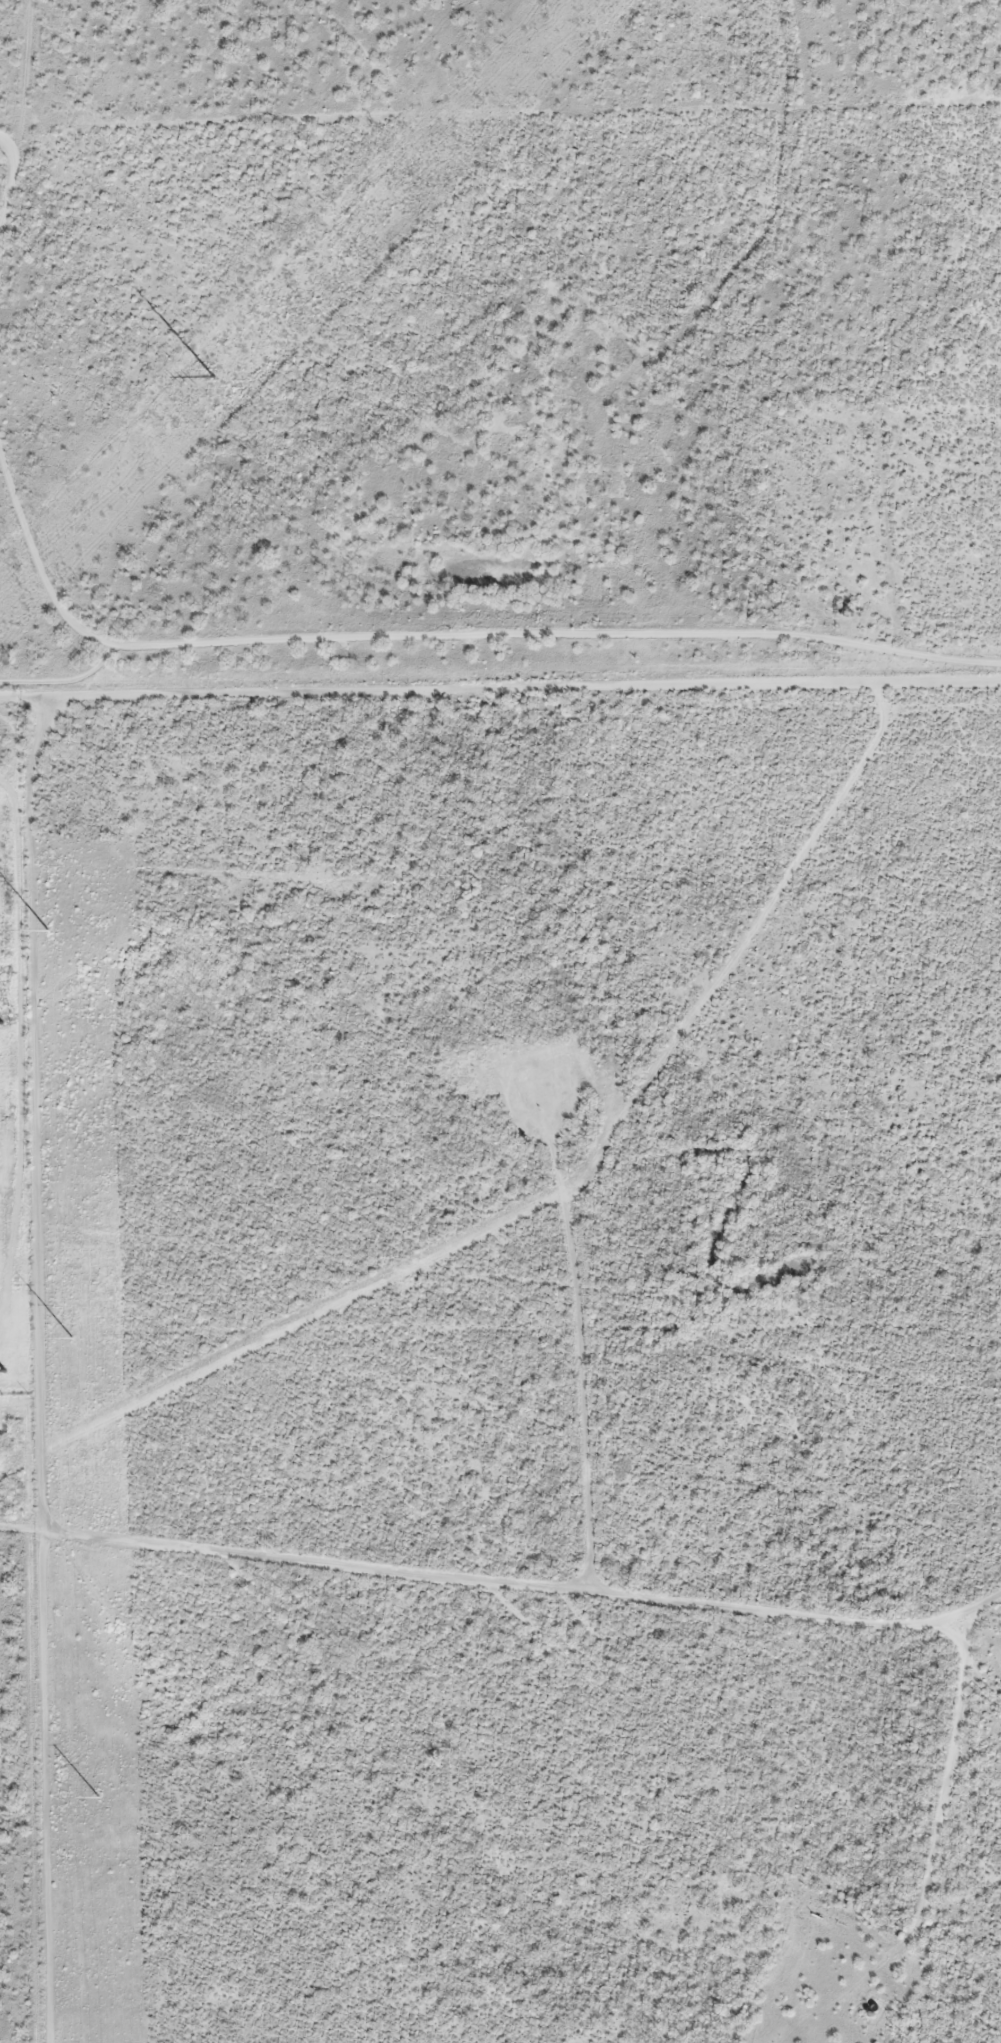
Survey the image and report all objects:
road: (15, 125)
power tower: (210, 375)
road: (463, 641)
power tower: (46, 930)
power tower: (1, 1021)
power tower: (72, 1336)
power tower: (4, 1370)
road: (500, 1590)
power tower: (100, 1798)

